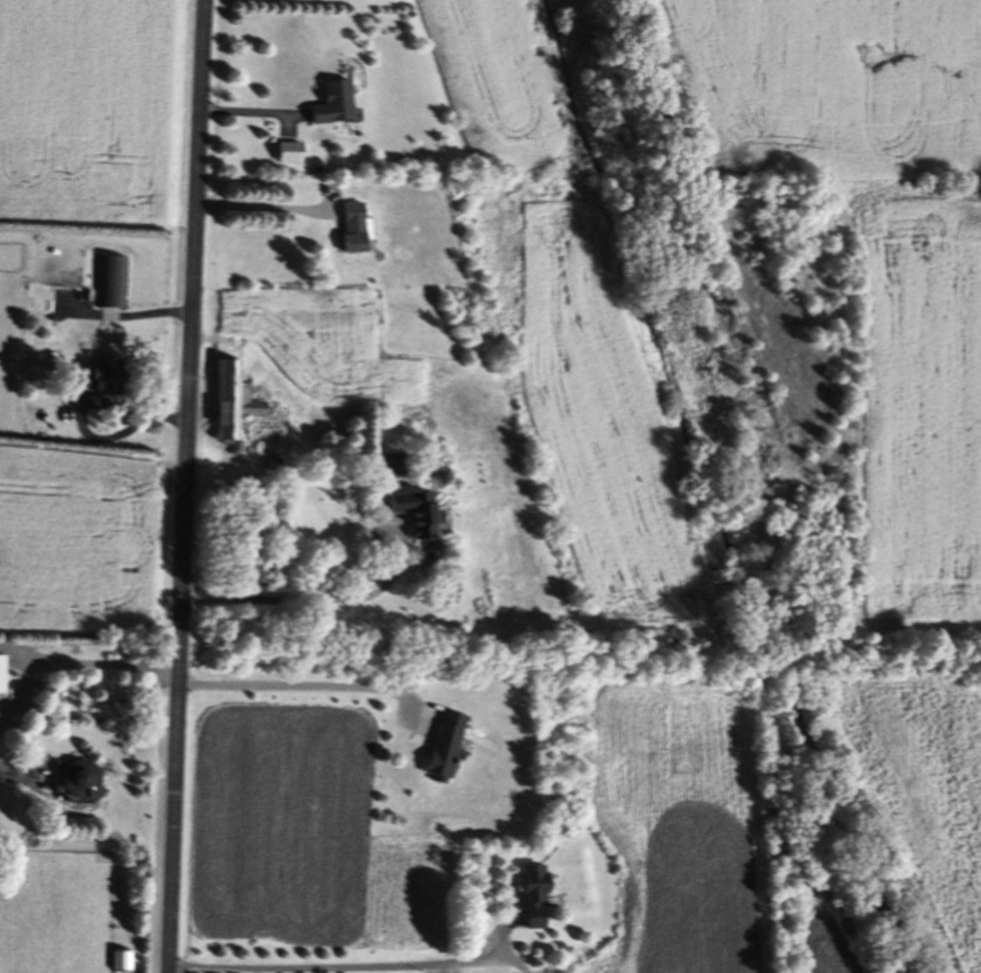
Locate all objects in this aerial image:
building: (337, 106)
road: (254, 112)
building: (293, 154)
road: (270, 208)
building: (358, 230)
building: (112, 284)
building: (104, 380)
building: (235, 406)
road: (86, 411)
road: (186, 486)
building: (421, 518)
road: (369, 599)
road: (89, 662)
building: (3, 678)
road: (305, 689)
road: (25, 692)
building: (447, 750)
road: (7, 779)
building: (81, 784)
building: (537, 893)
road: (339, 966)

